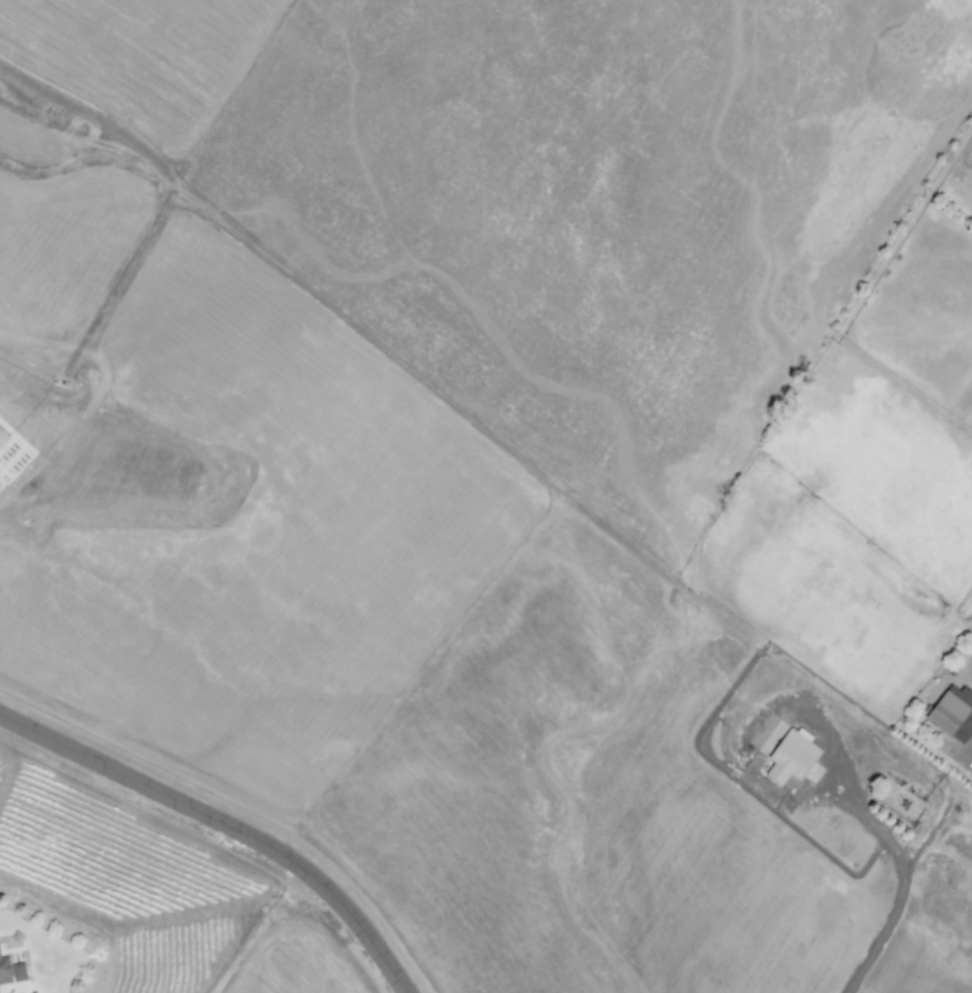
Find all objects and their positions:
building: (2, 436)
building: (953, 714)
building: (791, 756)
road: (228, 823)
road: (892, 845)
building: (11, 971)

